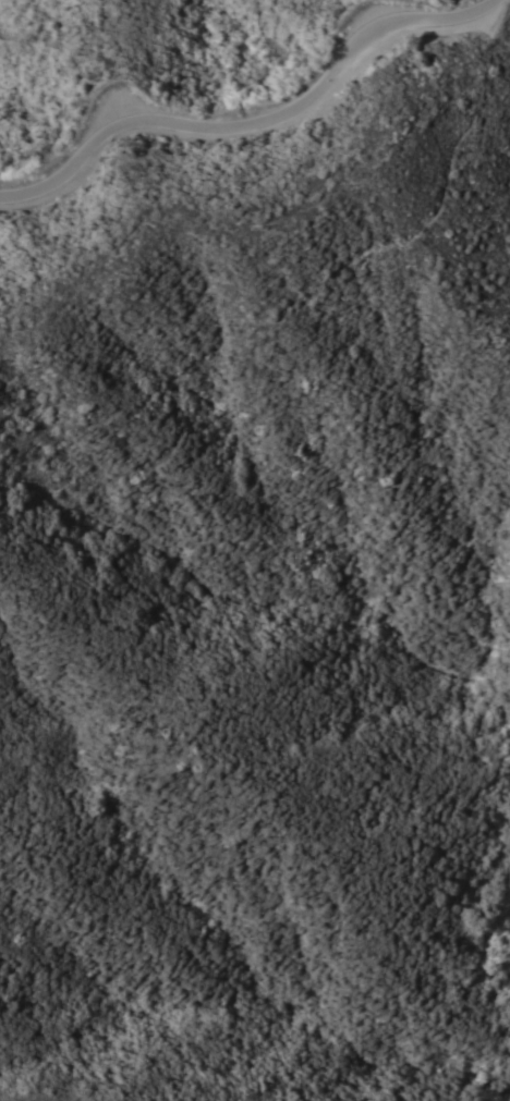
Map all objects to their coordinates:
road: (253, 119)
road: (392, 247)

